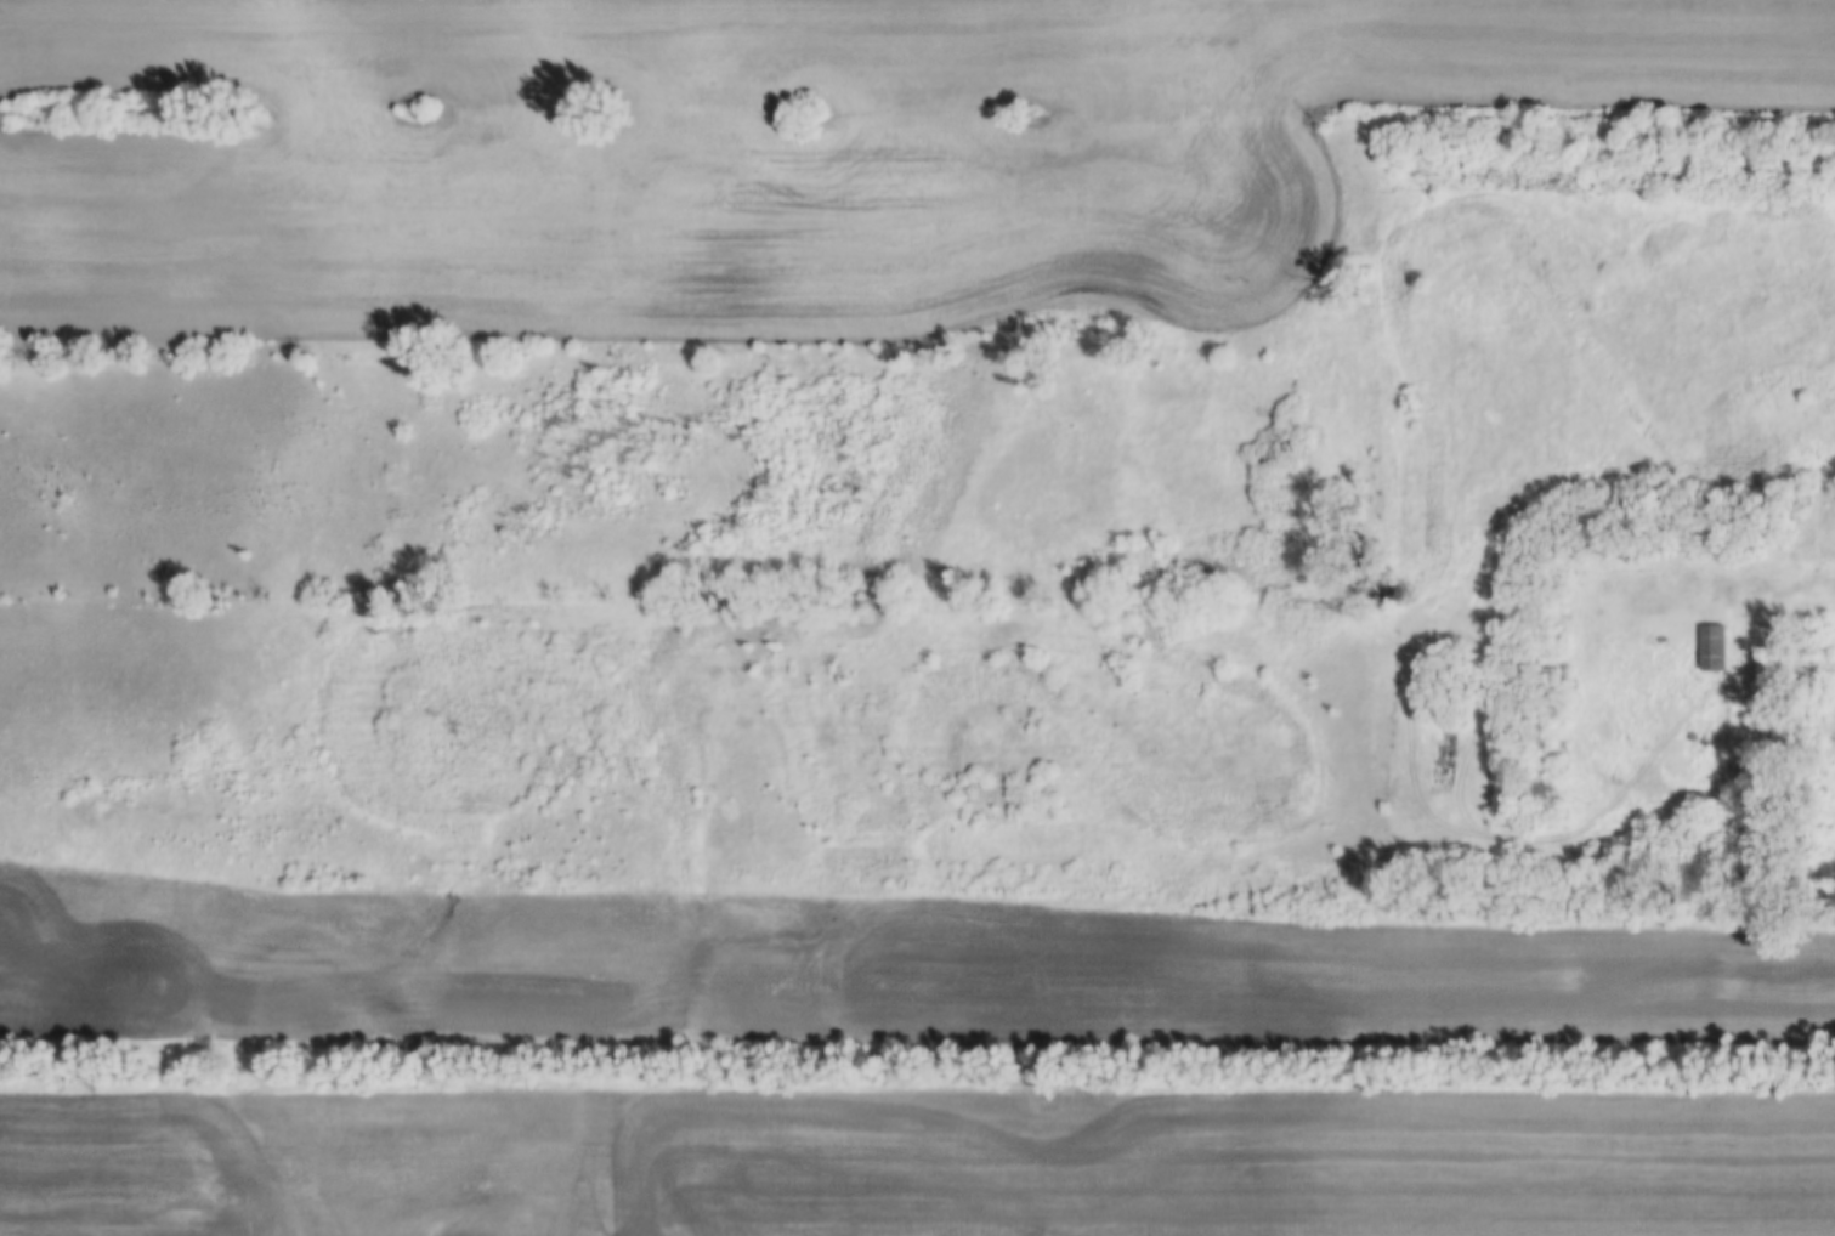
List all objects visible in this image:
building: (1710, 647)

